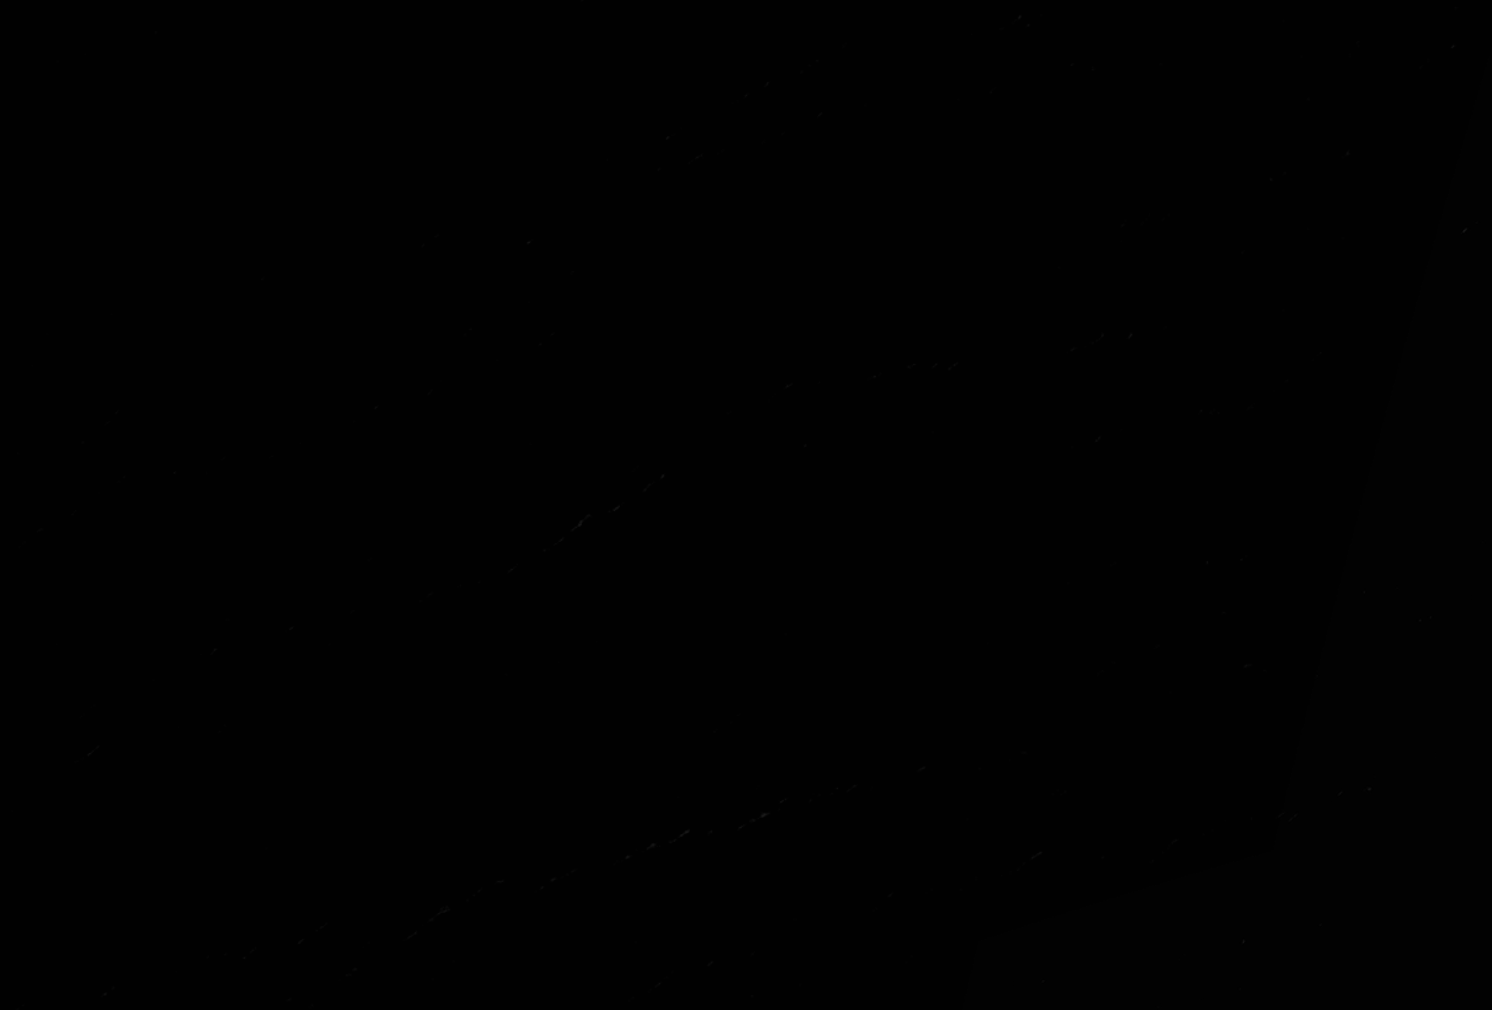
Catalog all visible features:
river: (1310, 505)

